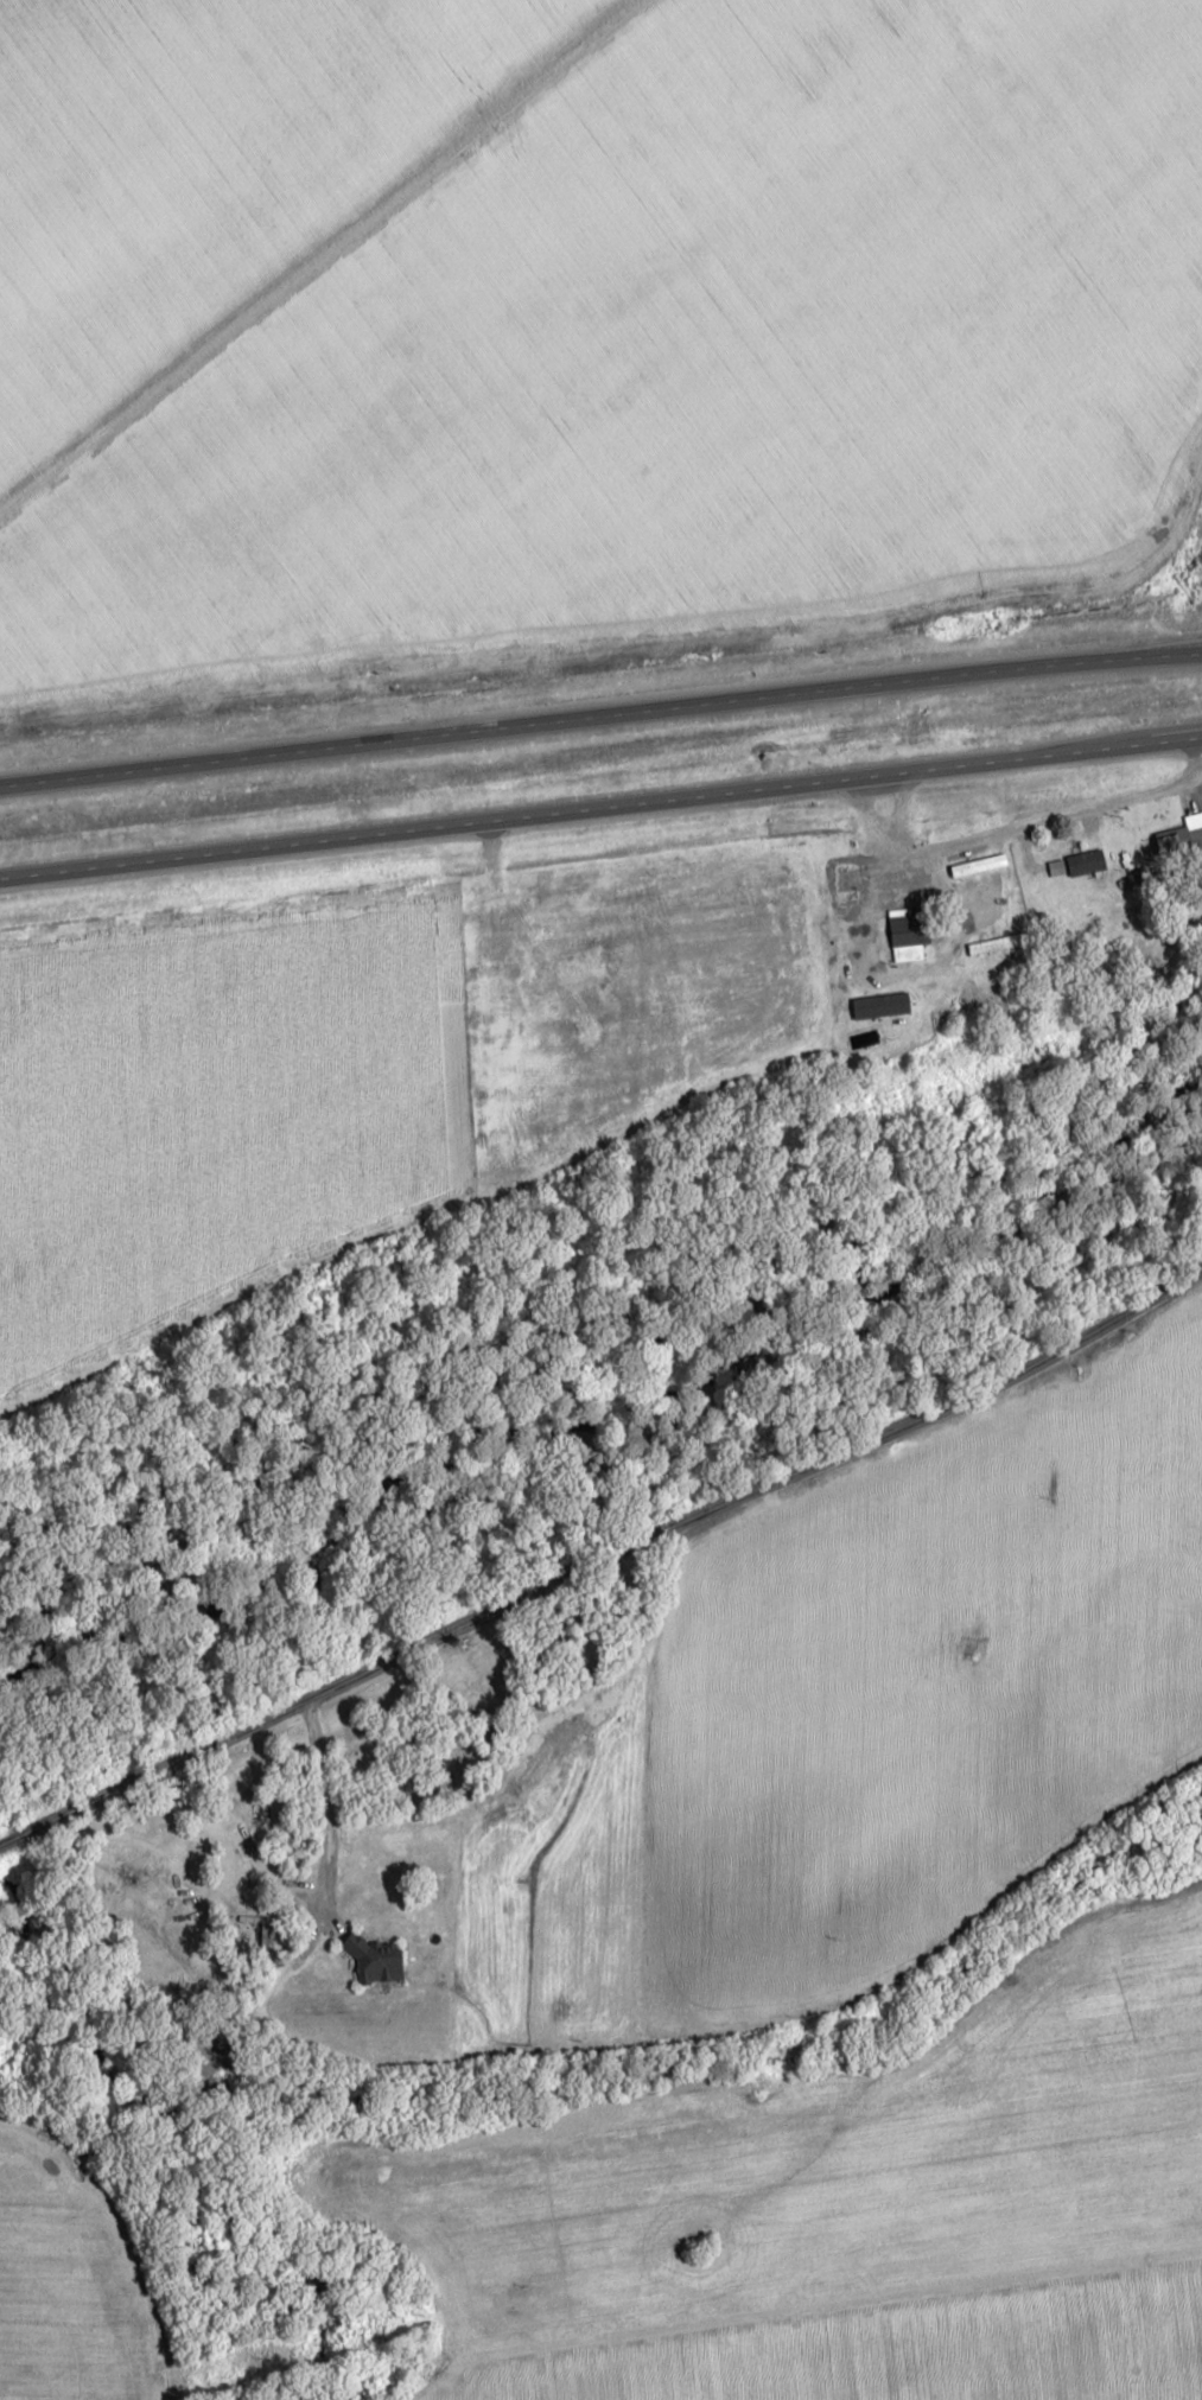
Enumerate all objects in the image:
road: (600, 712)
road: (600, 801)
road: (1035, 830)
building: (1181, 843)
building: (1086, 862)
building: (1056, 867)
building: (877, 892)
building: (920, 925)
building: (996, 944)
road: (418, 1229)
road: (604, 1560)

